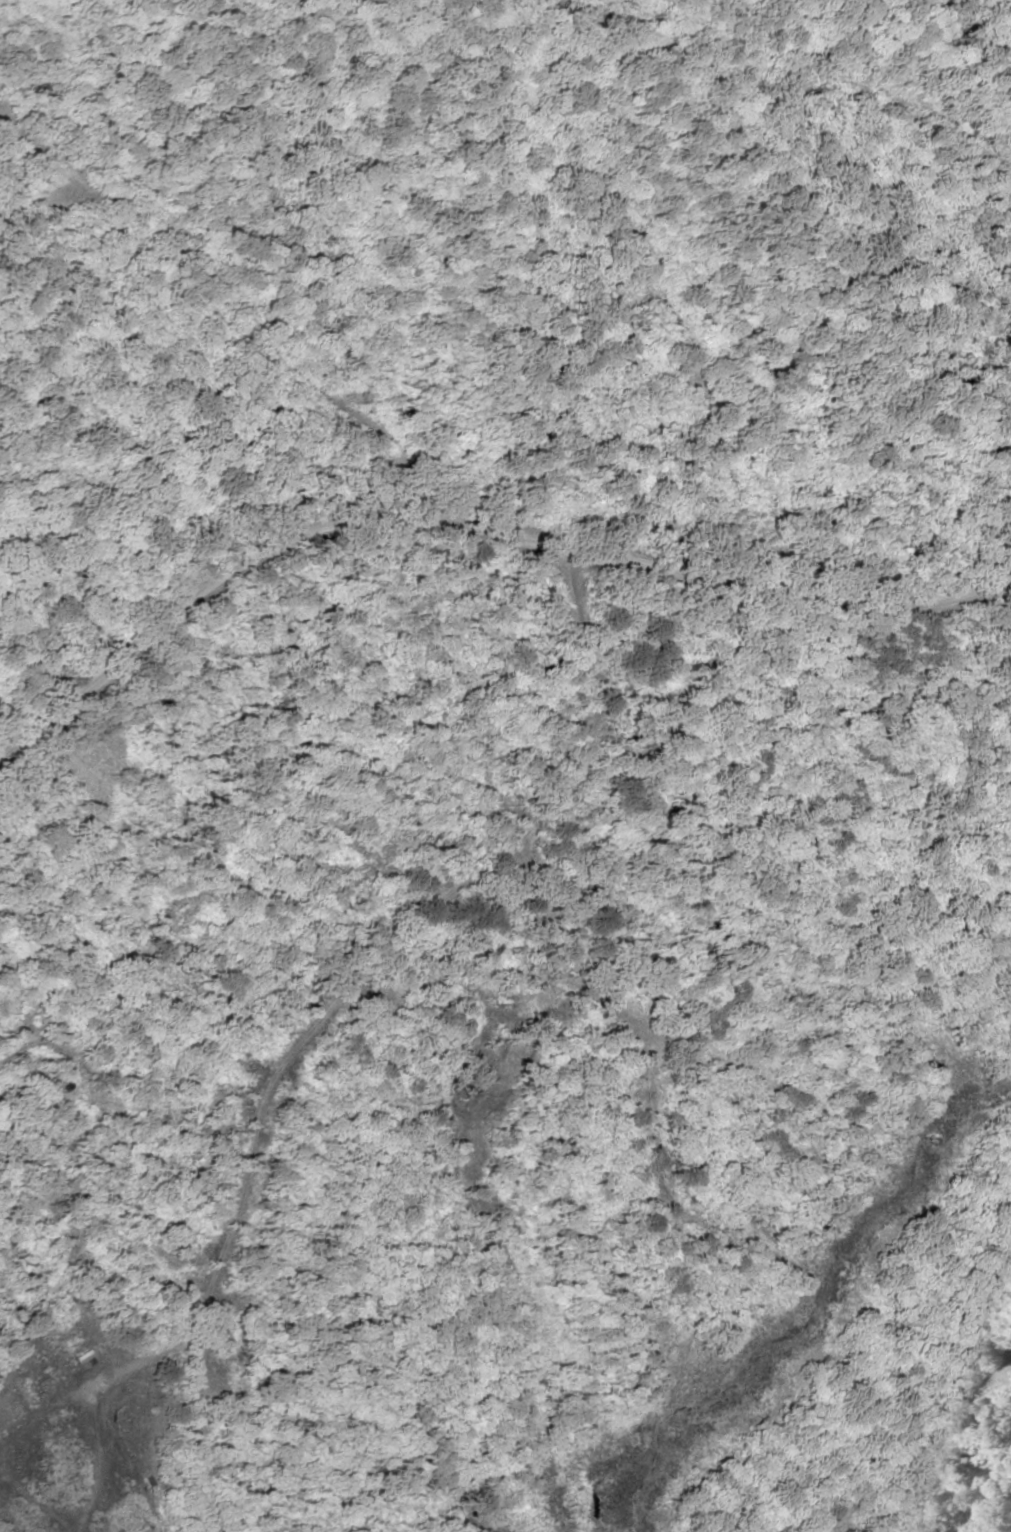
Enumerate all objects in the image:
road: (477, 490)
road: (388, 1006)
building: (86, 1358)

